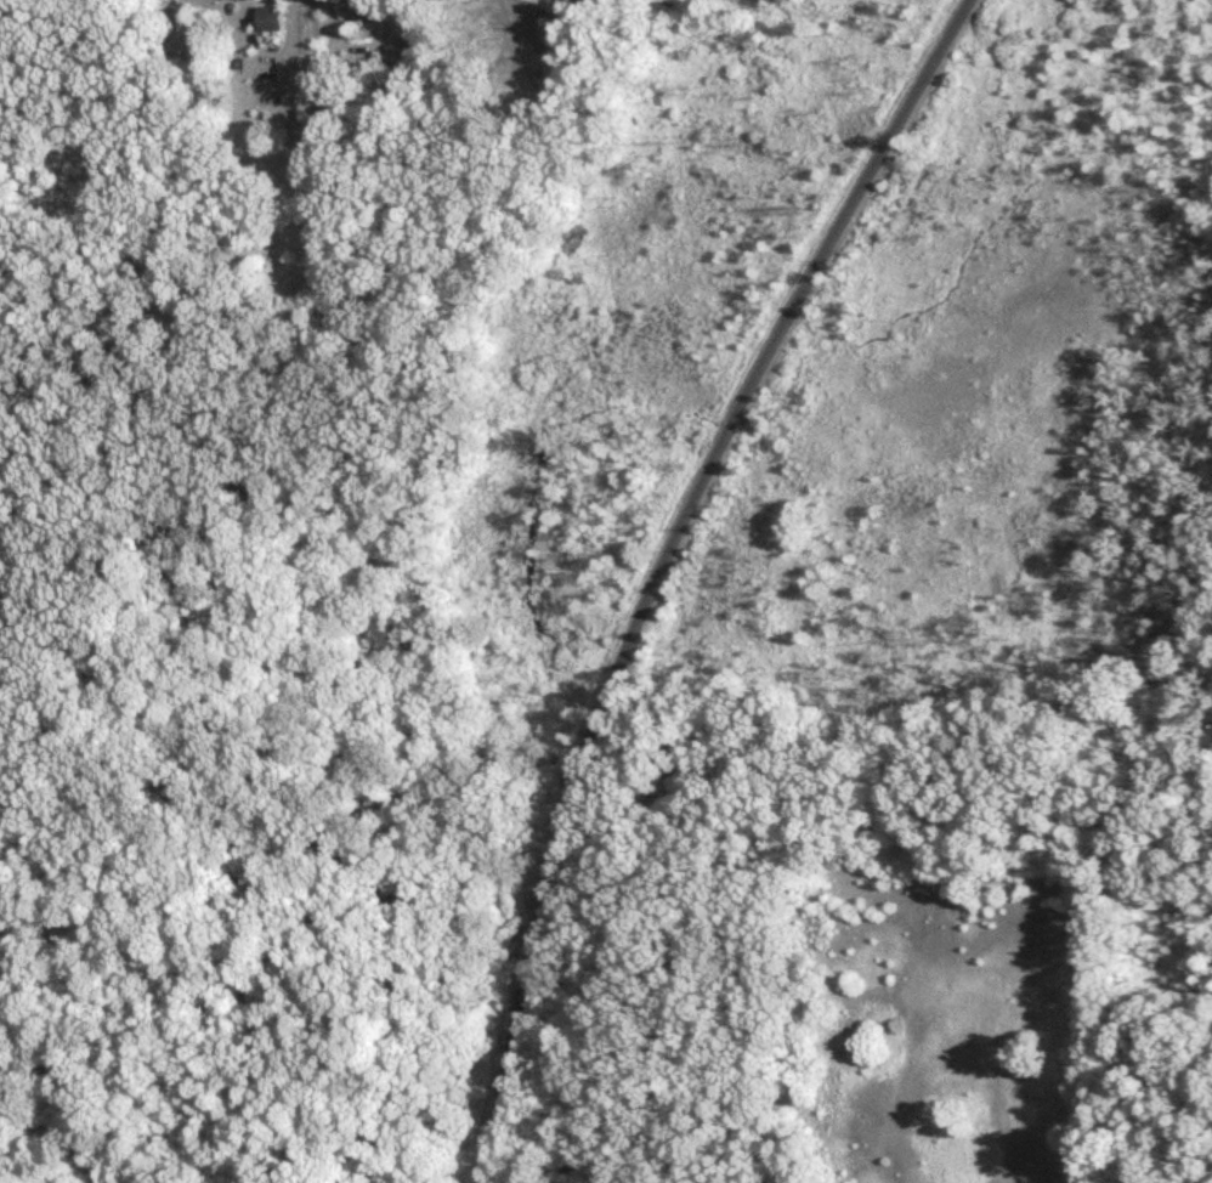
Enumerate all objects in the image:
building: (271, 21)
road: (658, 566)

